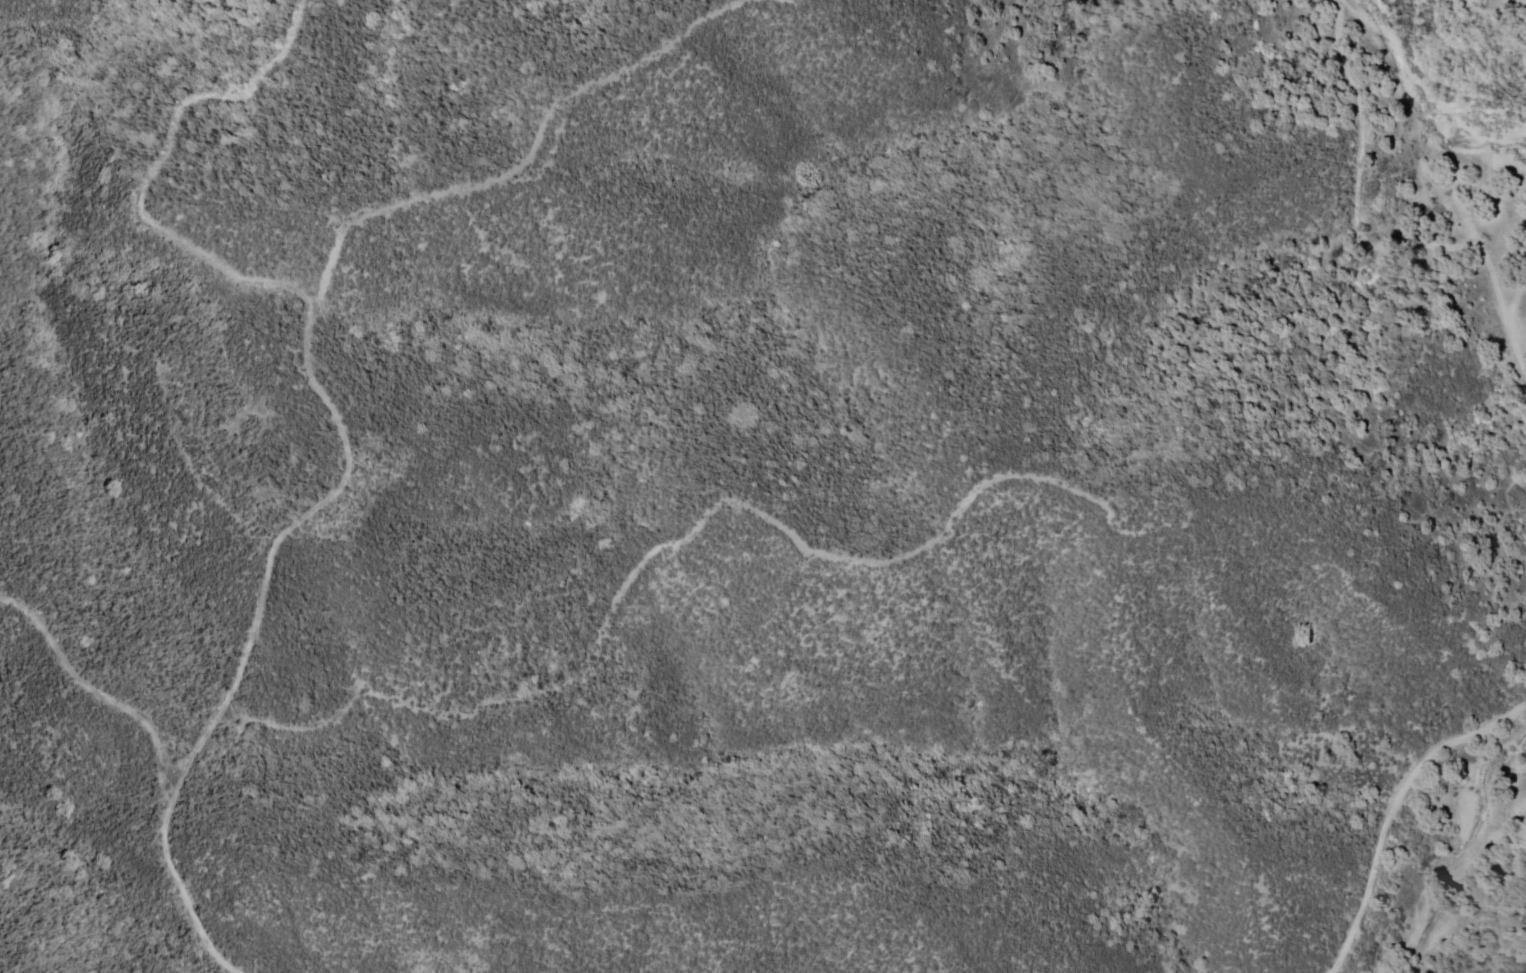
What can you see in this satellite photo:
road: (1481, 36)
road: (1505, 320)
road: (1393, 812)

